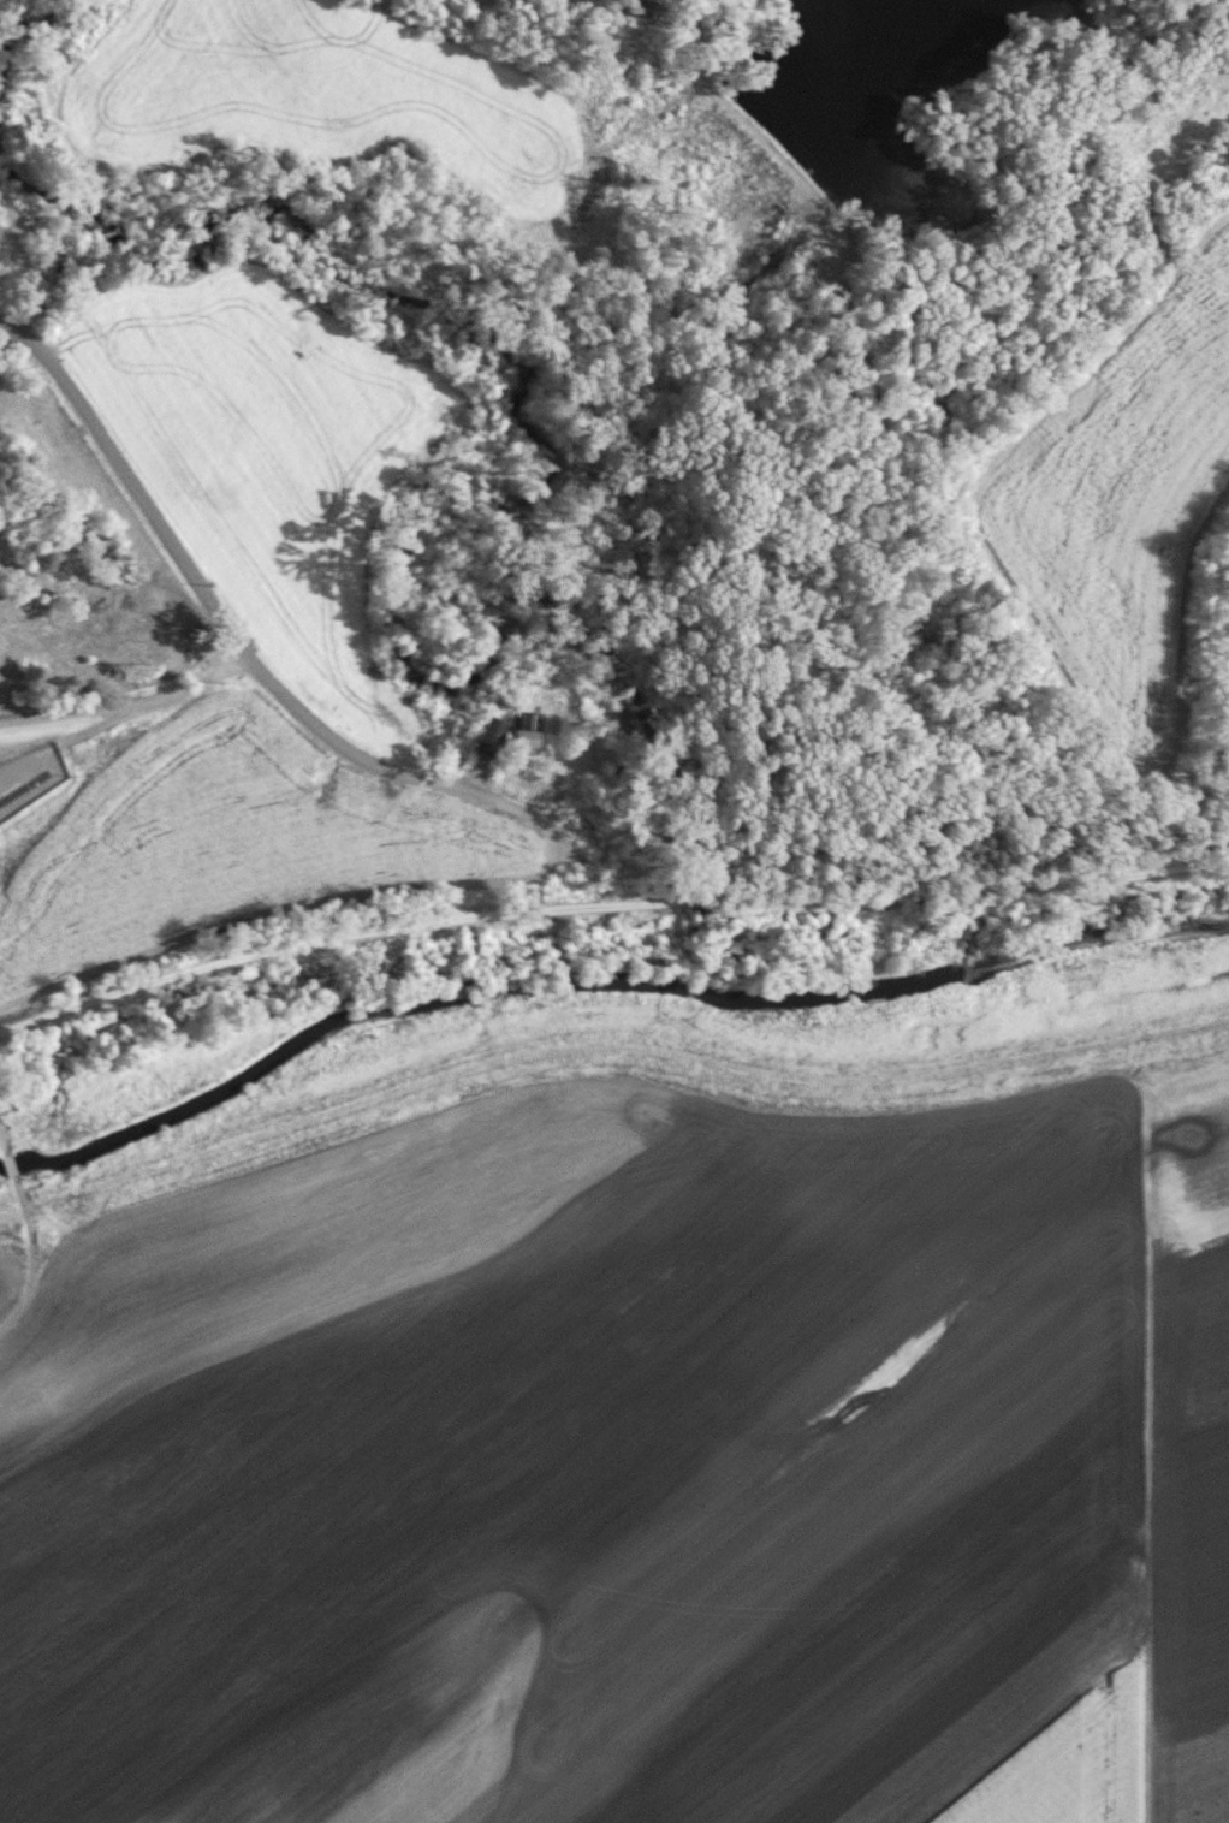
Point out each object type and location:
road: (208, 605)
road: (70, 717)
road: (123, 719)
building: (529, 731)
building: (492, 736)
road: (607, 907)
road: (30, 1236)

